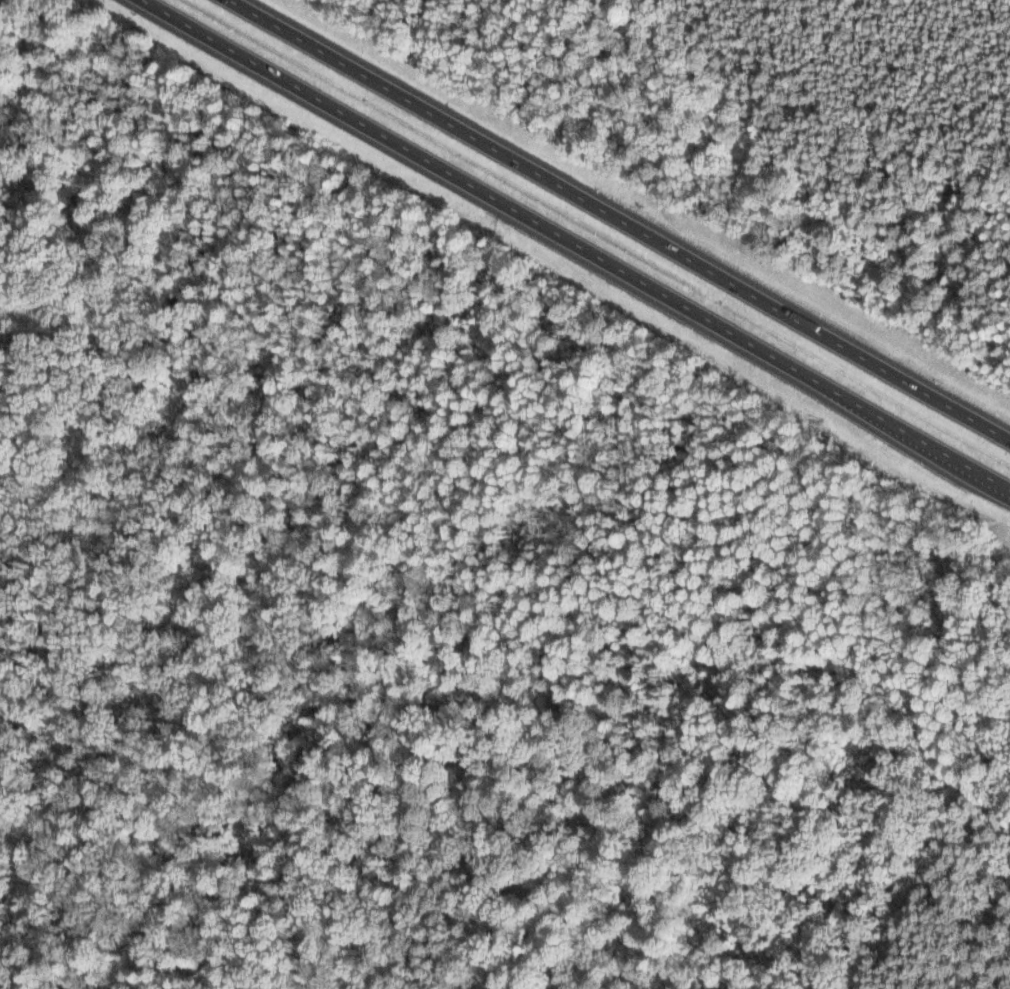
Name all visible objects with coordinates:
road: (621, 218)
road: (552, 229)
road: (985, 473)

